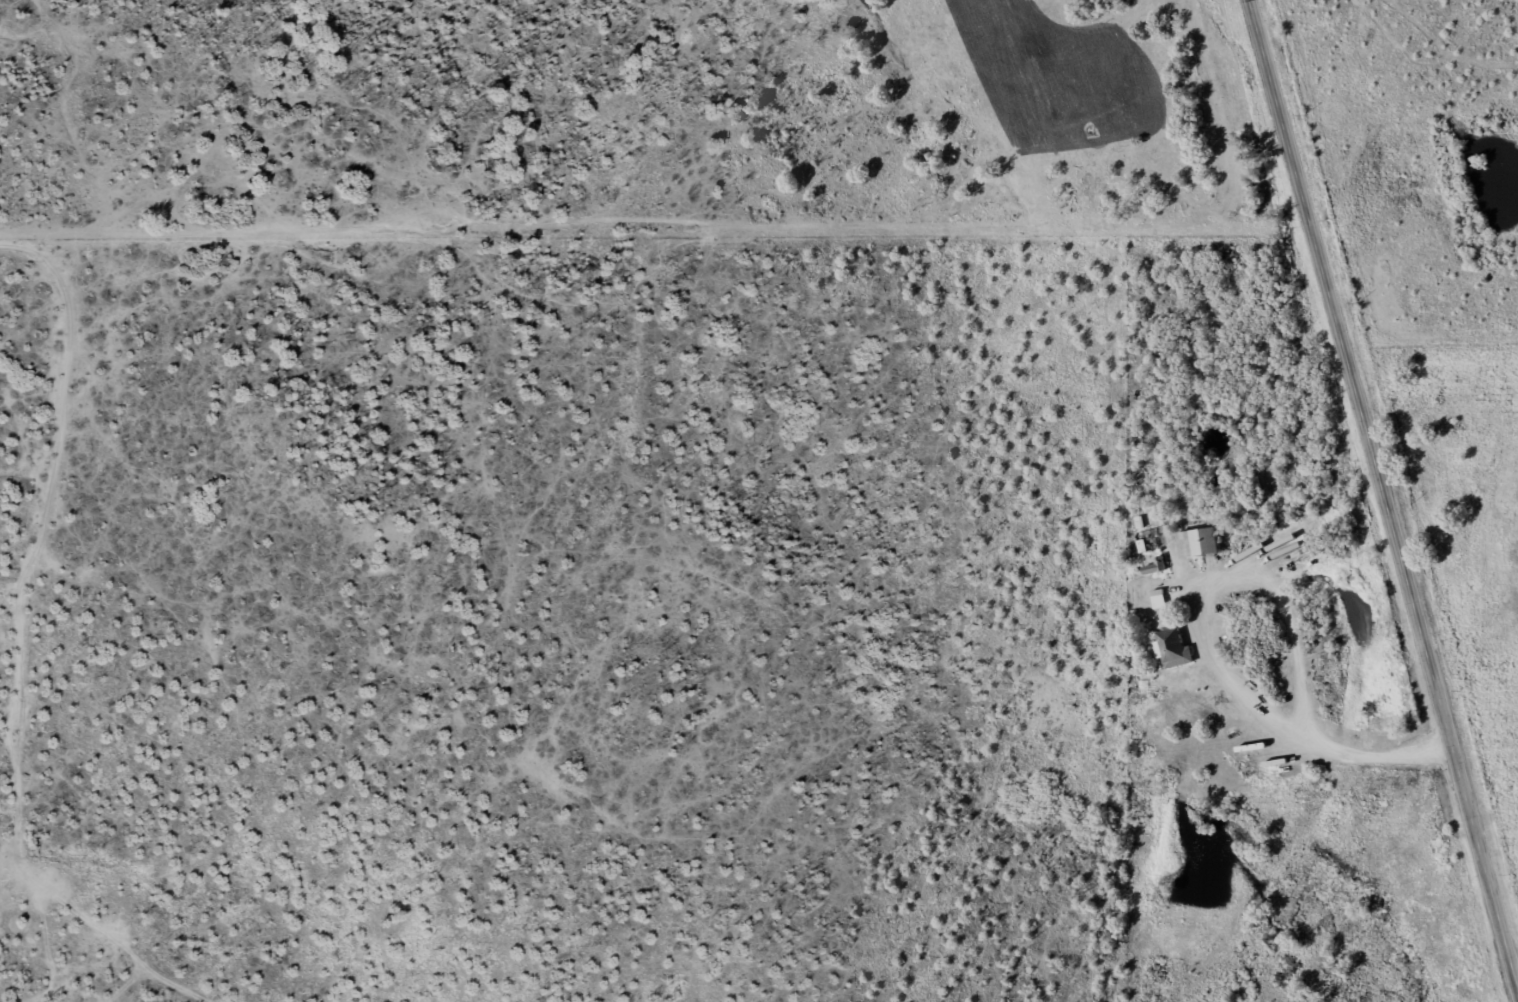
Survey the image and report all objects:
road: (1390, 475)
building: (1197, 547)
building: (1171, 652)

